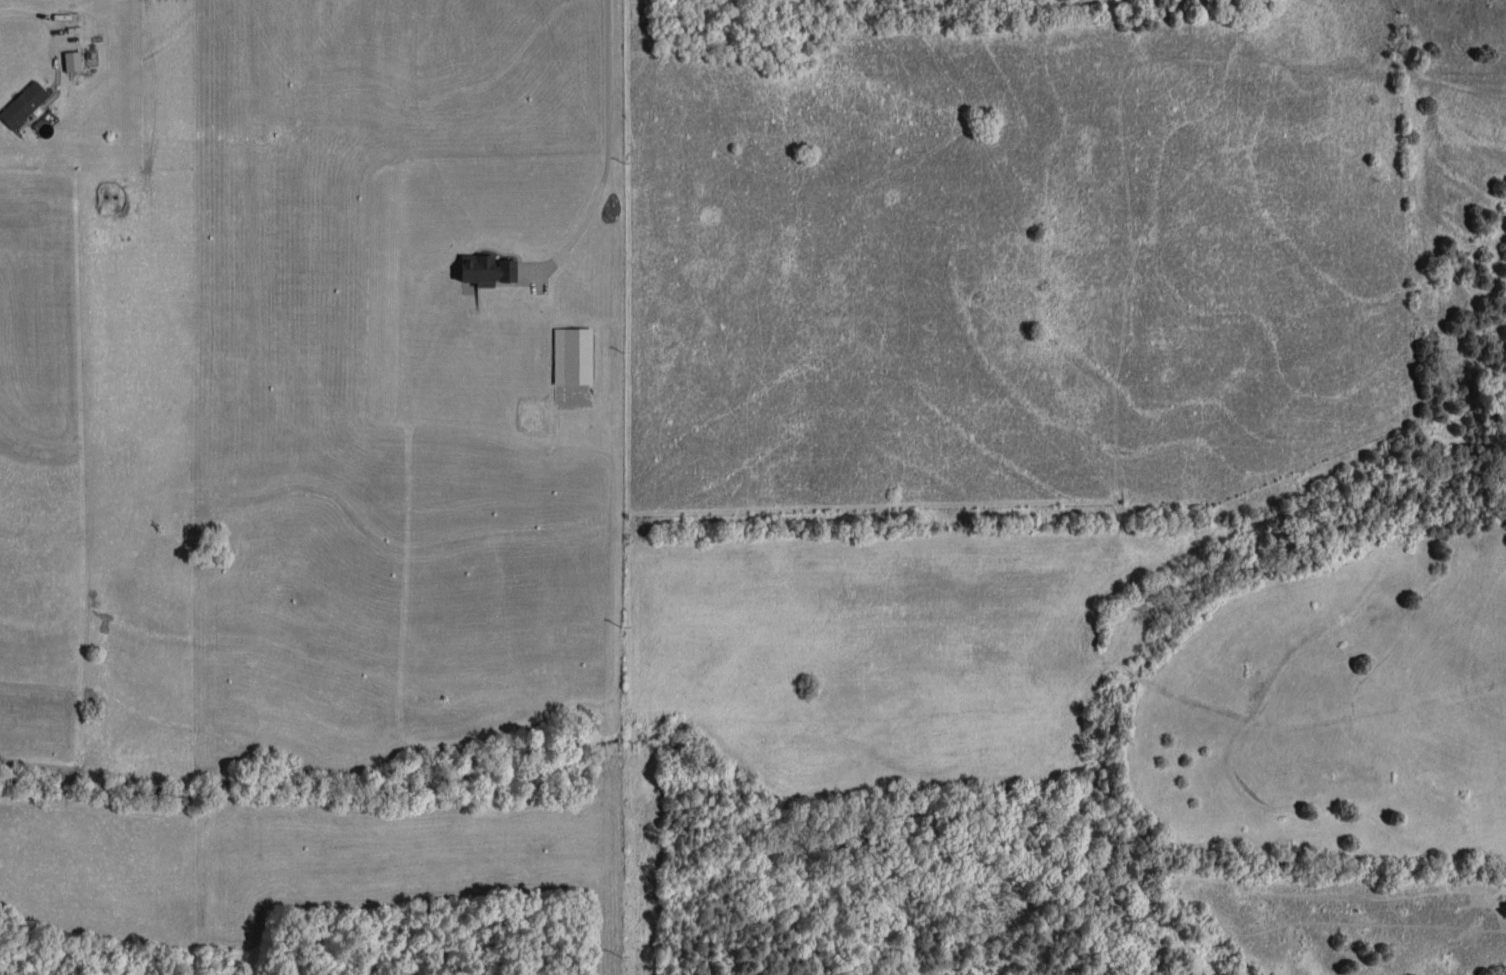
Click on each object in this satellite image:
road: (32, 11)
building: (72, 60)
building: (23, 104)
road: (608, 156)
building: (486, 269)
building: (572, 355)

